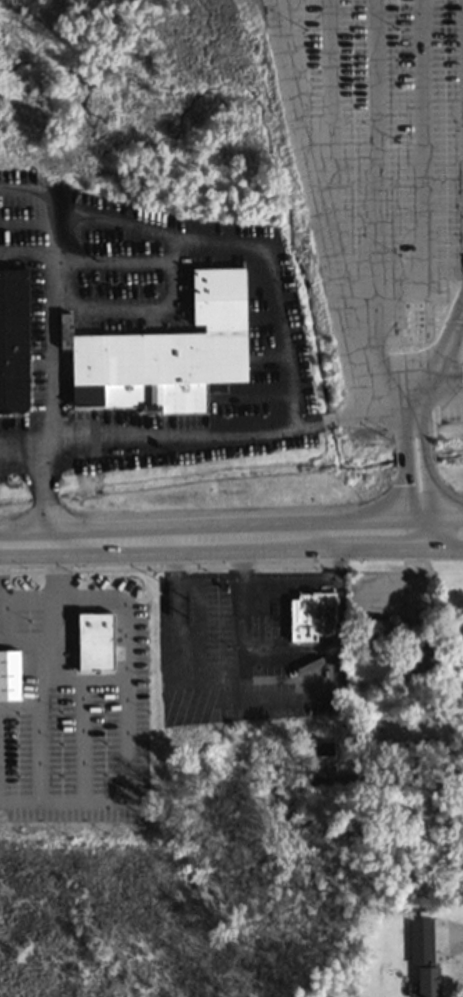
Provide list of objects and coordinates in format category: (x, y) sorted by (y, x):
road: (328, 227)
road: (24, 251)
building: (13, 341)
road: (280, 341)
road: (46, 342)
building: (162, 348)
road: (436, 405)
road: (330, 420)
road: (22, 433)
road: (418, 471)
road: (43, 487)
road: (231, 538)
building: (27, 602)
building: (311, 613)
building: (375, 627)
building: (419, 660)
building: (9, 674)
building: (95, 677)
building: (142, 726)
road: (89, 797)
building: (420, 940)
building: (426, 981)

